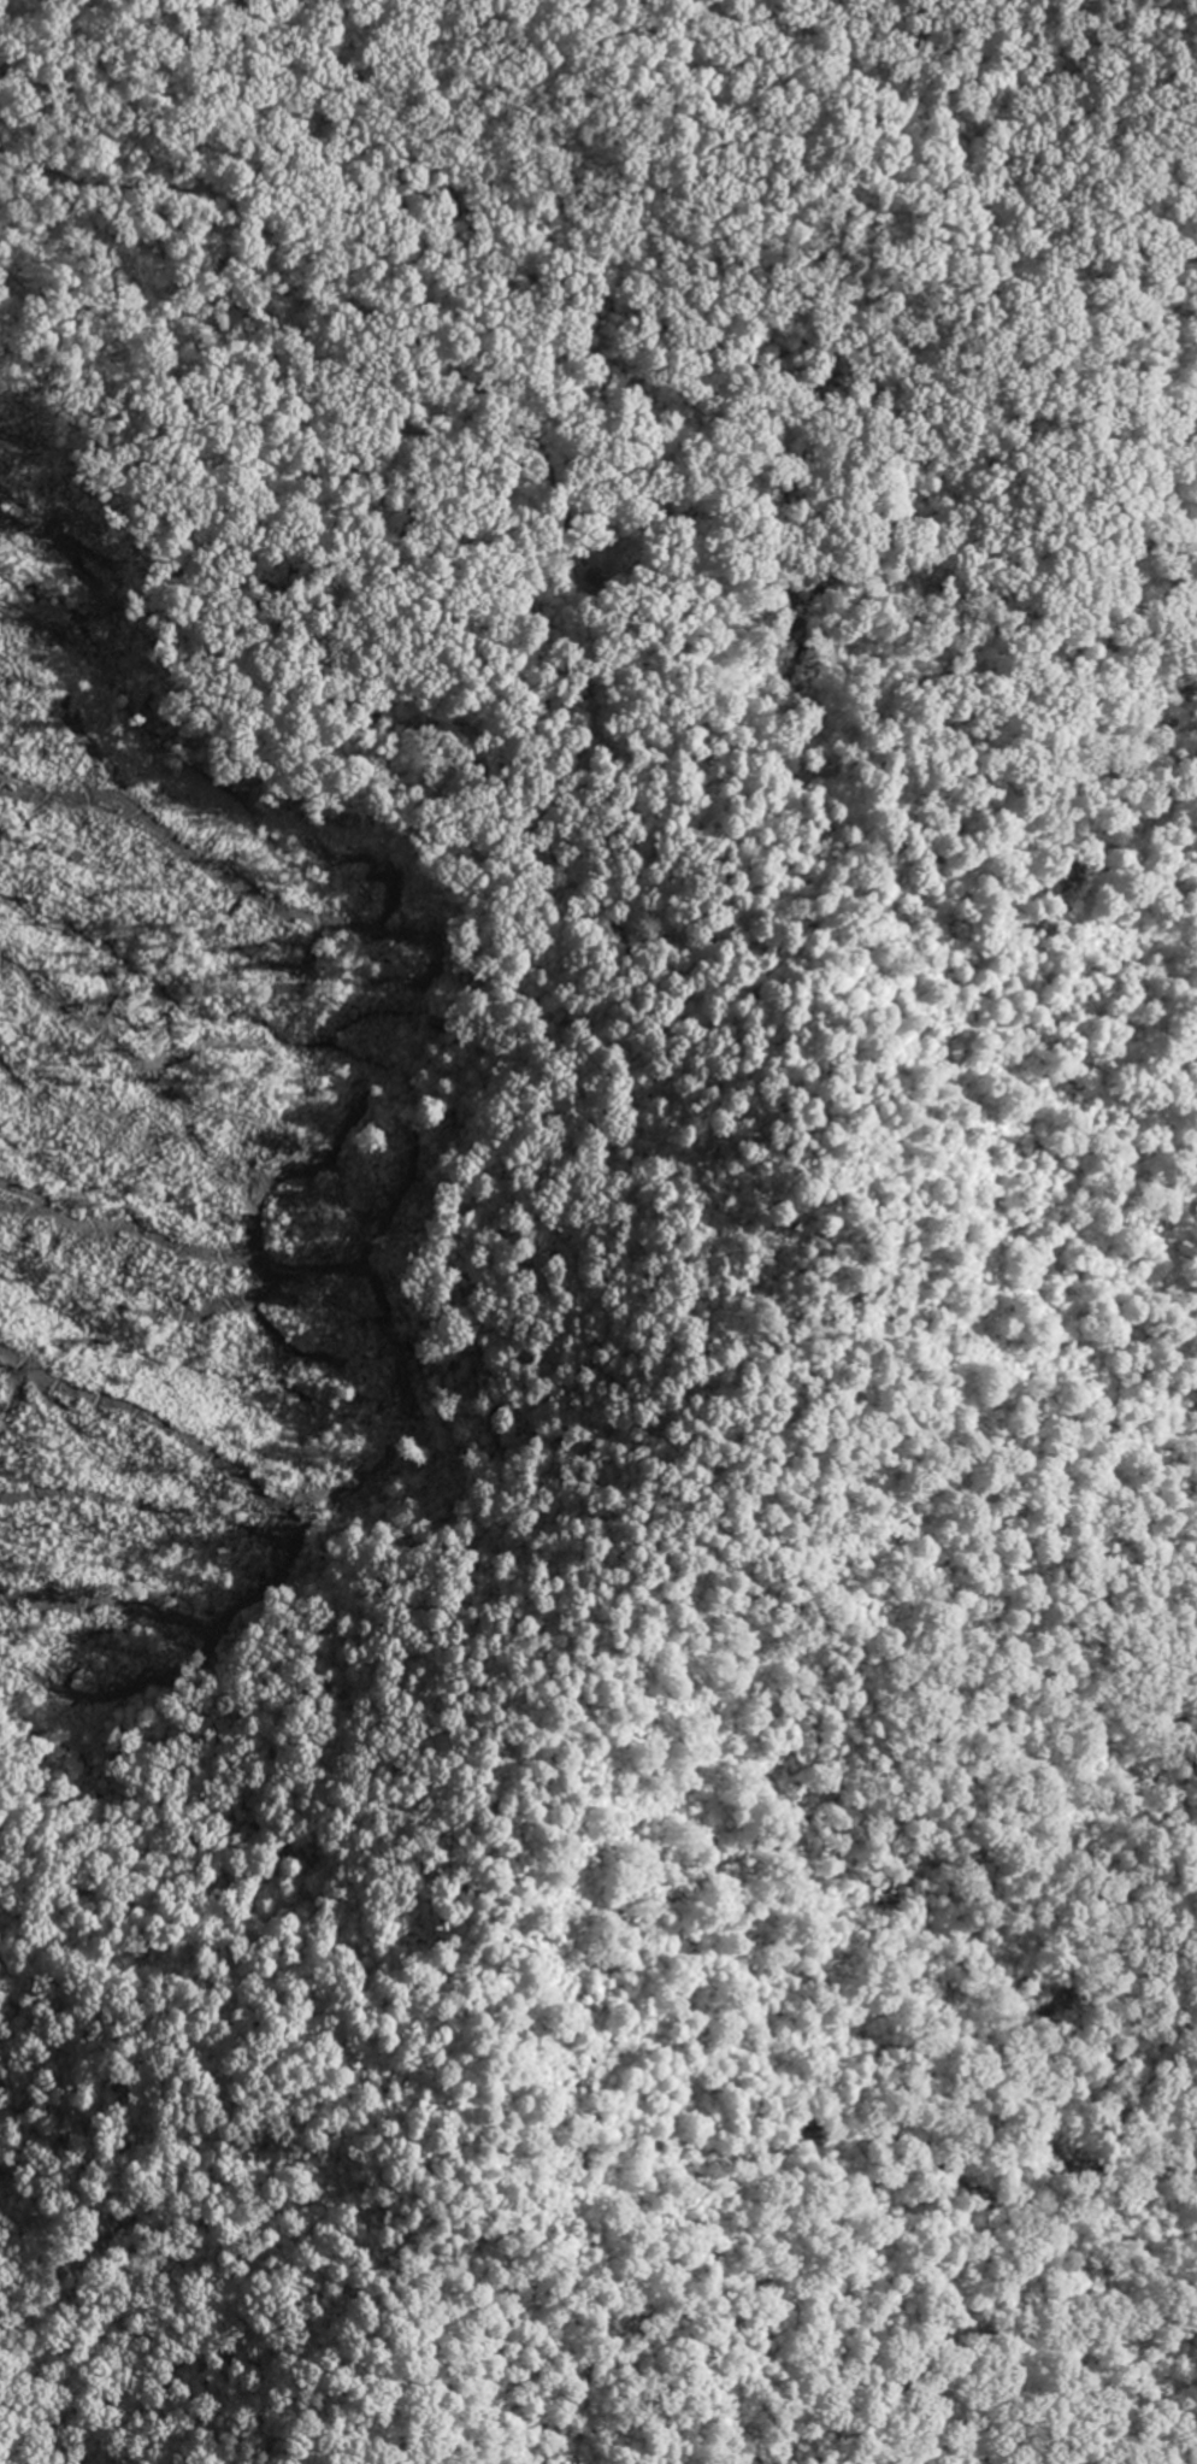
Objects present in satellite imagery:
building: (4, 1)
road: (308, 302)
water tower: (590, 578)

